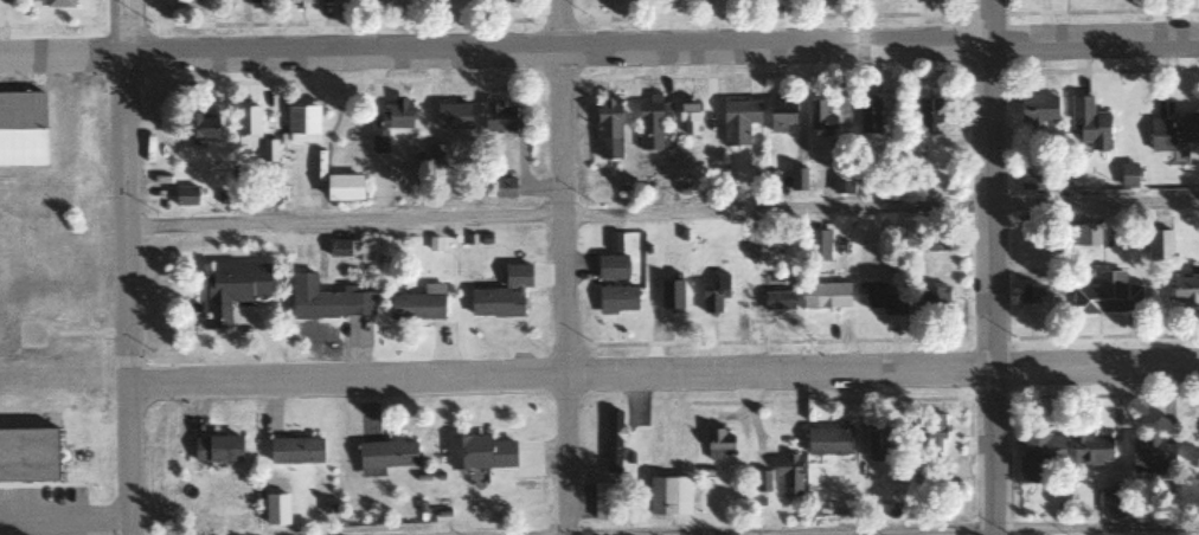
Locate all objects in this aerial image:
building: (308, 0)
building: (256, 1)
building: (57, 4)
road: (598, 45)
building: (1037, 108)
building: (929, 110)
building: (395, 115)
building: (451, 116)
building: (496, 116)
building: (780, 116)
building: (868, 116)
building: (820, 118)
building: (688, 120)
building: (737, 121)
building: (246, 122)
building: (650, 123)
building: (1088, 123)
building: (199, 124)
building: (301, 124)
building: (20, 129)
building: (607, 129)
building: (1171, 131)
building: (378, 141)
building: (436, 155)
building: (1127, 175)
building: (796, 179)
building: (1030, 181)
building: (341, 187)
building: (502, 187)
building: (184, 195)
road: (661, 211)
building: (1084, 234)
building: (614, 239)
building: (816, 244)
building: (1159, 245)
building: (339, 247)
building: (610, 266)
road: (126, 267)
road: (564, 267)
road: (990, 267)
building: (231, 289)
building: (1184, 289)
building: (713, 292)
building: (501, 294)
building: (669, 294)
building: (1030, 294)
building: (825, 295)
building: (1107, 295)
building: (878, 297)
building: (934, 297)
building: (326, 299)
building: (616, 299)
building: (777, 299)
building: (417, 303)
road: (662, 372)
building: (932, 434)
building: (716, 441)
building: (827, 441)
building: (613, 443)
building: (874, 444)
building: (216, 447)
building: (1090, 447)
building: (294, 450)
building: (479, 452)
building: (1038, 455)
building: (1149, 455)
building: (383, 456)
building: (26, 457)
building: (788, 475)
building: (761, 482)
road: (40, 485)
building: (667, 496)
building: (603, 501)
building: (1111, 502)
building: (274, 508)
parking lot: (41, 510)
road: (65, 524)
road: (919, 530)

